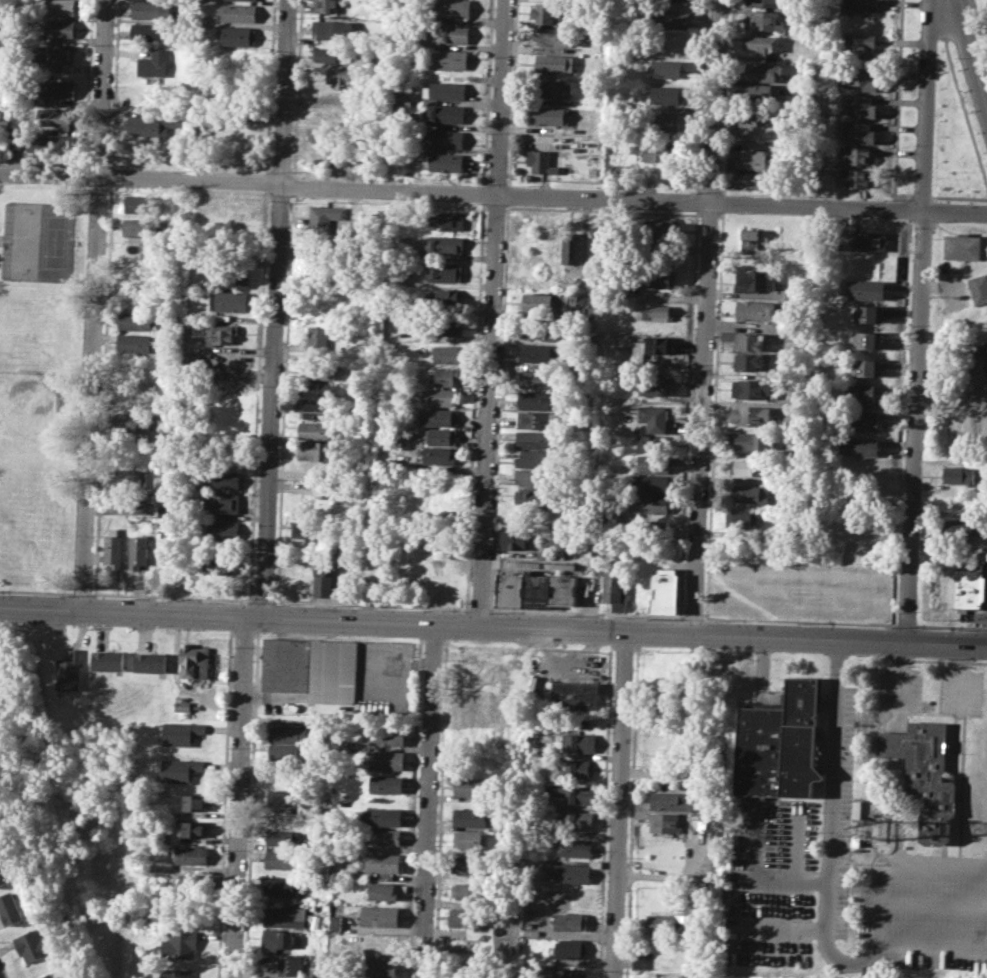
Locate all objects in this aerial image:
building: (761, 2)
building: (329, 6)
building: (57, 7)
building: (857, 7)
building: (452, 8)
building: (150, 10)
building: (238, 12)
building: (544, 13)
building: (671, 19)
building: (761, 19)
building: (59, 28)
building: (330, 29)
building: (149, 32)
building: (453, 33)
building: (237, 34)
building: (556, 36)
building: (760, 42)
building: (857, 42)
street lamp: (916, 52)
road: (970, 53)
building: (332, 54)
building: (53, 55)
street lamp: (956, 58)
building: (447, 59)
building: (554, 62)
building: (155, 63)
building: (665, 68)
building: (761, 70)
building: (860, 77)
building: (343, 79)
building: (555, 88)
building: (58, 89)
building: (449, 90)
building: (755, 90)
road: (512, 92)
building: (665, 95)
road: (727, 97)
building: (858, 104)
road: (896, 105)
building: (446, 113)
road: (963, 114)
building: (550, 115)
building: (57, 117)
building: (663, 122)
building: (153, 123)
building: (750, 123)
building: (856, 131)
building: (324, 133)
park: (955, 133)
building: (446, 138)
building: (13, 139)
building: (31, 140)
building: (59, 142)
street lamp: (913, 144)
building: (663, 152)
building: (854, 155)
building: (754, 159)
building: (540, 161)
building: (442, 162)
building: (852, 178)
building: (750, 180)
road: (493, 193)
road: (507, 194)
road: (919, 195)
road: (958, 196)
street lamp: (889, 198)
street lamp: (969, 201)
road: (722, 202)
building: (140, 204)
road: (495, 206)
road: (505, 207)
road: (601, 210)
road: (707, 212)
road: (720, 213)
building: (325, 216)
building: (446, 220)
building: (139, 226)
building: (660, 227)
street lamp: (912, 229)
park: (21, 240)
building: (750, 240)
building: (867, 240)
park: (57, 241)
building: (445, 243)
building: (603, 245)
building: (572, 247)
building: (963, 247)
building: (444, 272)
building: (231, 278)
building: (657, 279)
building: (756, 280)
building: (580, 288)
building: (866, 288)
building: (979, 288)
building: (444, 298)
building: (229, 301)
building: (537, 302)
road: (93, 305)
road: (277, 309)
building: (755, 309)
road: (492, 312)
building: (658, 312)
building: (868, 313)
road: (704, 317)
building: (135, 320)
road: (916, 322)
building: (447, 326)
street lamp: (909, 326)
building: (199, 328)
building: (539, 329)
building: (222, 334)
building: (319, 339)
building: (867, 339)
building: (986, 341)
building: (749, 342)
building: (135, 343)
building: (658, 345)
building: (447, 353)
building: (538, 353)
building: (748, 361)
building: (866, 367)
building: (319, 370)
building: (444, 376)
building: (539, 379)
park: (41, 382)
building: (655, 385)
building: (751, 388)
building: (322, 390)
building: (132, 391)
building: (862, 392)
building: (440, 397)
building: (536, 400)
road: (475, 405)
building: (319, 410)
road: (687, 415)
building: (751, 415)
building: (439, 416)
building: (654, 417)
building: (861, 419)
building: (538, 420)
building: (133, 421)
building: (319, 429)
park: (30, 430)
building: (442, 436)
building: (537, 439)
building: (750, 440)
building: (653, 442)
building: (860, 445)
road: (498, 447)
building: (319, 450)
building: (439, 456)
building: (536, 458)
building: (652, 463)
building: (746, 466)
building: (959, 475)
building: (131, 477)
building: (535, 478)
building: (224, 480)
building: (651, 483)
building: (323, 491)
building: (750, 493)
building: (532, 498)
building: (853, 500)
building: (650, 503)
building: (224, 504)
building: (137, 507)
road: (710, 509)
building: (741, 519)
building: (962, 528)
building: (222, 529)
building: (309, 530)
building: (514, 541)
building: (114, 548)
building: (138, 550)
building: (218, 565)
building: (343, 567)
building: (324, 580)
building: (969, 587)
building: (562, 588)
building: (615, 588)
building: (536, 589)
building: (664, 589)
road: (36, 590)
building: (510, 590)
road: (81, 592)
road: (172, 596)
road: (264, 599)
road: (371, 604)
road: (480, 609)
road: (586, 612)
road: (692, 616)
road: (704, 617)
road: (906, 624)
road: (493, 626)
road: (951, 626)
building: (108, 660)
building: (194, 661)
building: (150, 662)
building: (311, 668)
building: (69, 670)
road: (900, 673)
road: (961, 676)
parking lot: (900, 688)
parking lot: (961, 690)
building: (576, 696)
building: (182, 705)
building: (289, 732)
building: (181, 733)
building: (388, 736)
building: (582, 742)
building: (780, 743)
building: (289, 753)
building: (388, 760)
building: (578, 768)
building: (180, 769)
building: (926, 774)
building: (285, 779)
building: (387, 783)
building: (472, 786)
road: (834, 790)
building: (576, 794)
road: (240, 797)
building: (287, 798)
road: (430, 801)
building: (673, 801)
building: (196, 803)
road: (621, 805)
building: (472, 815)
building: (386, 816)
building: (580, 820)
building: (666, 823)
building: (193, 828)
road: (900, 832)
building: (386, 836)
building: (282, 837)
building: (469, 839)
road: (755, 842)
road: (796, 843)
building: (574, 847)
building: (191, 855)
building: (281, 858)
building: (382, 862)
road: (893, 863)
building: (471, 864)
building: (574, 872)
building: (3, 874)
parking lot: (770, 879)
road: (783, 879)
building: (182, 880)
building: (282, 885)
building: (386, 890)
building: (469, 891)
road: (933, 904)
building: (10, 908)
parking lot: (925, 909)
building: (380, 915)
building: (287, 917)
building: (466, 917)
building: (337, 921)
building: (570, 921)
building: (663, 923)
road: (781, 928)
building: (280, 940)
building: (33, 945)
building: (181, 945)
road: (935, 946)
building: (570, 947)
building: (642, 959)
road: (852, 961)
building: (290, 963)
building: (379, 968)
building: (568, 972)
building: (176, 973)
building: (53, 975)

